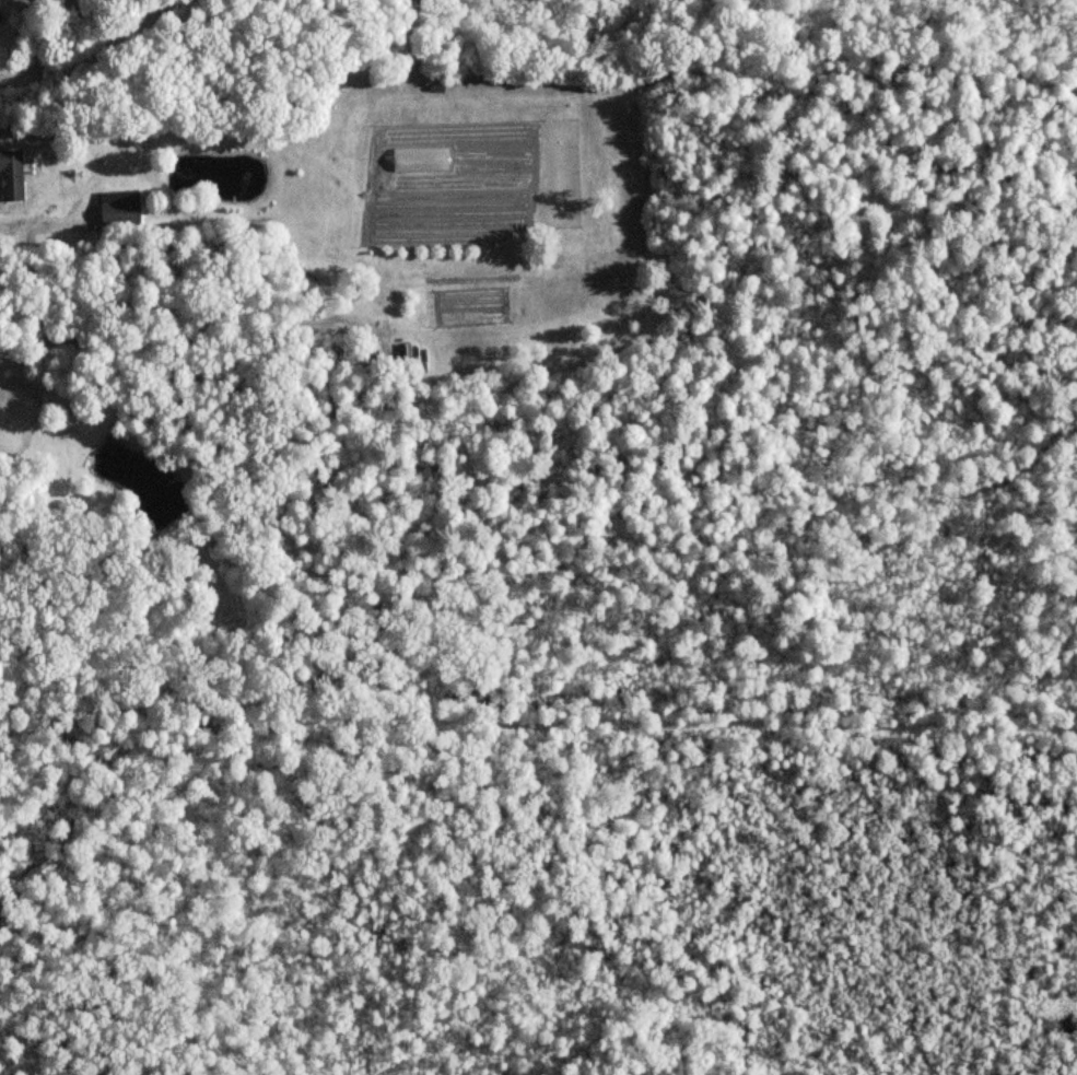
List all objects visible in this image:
building: (12, 173)
building: (119, 208)

